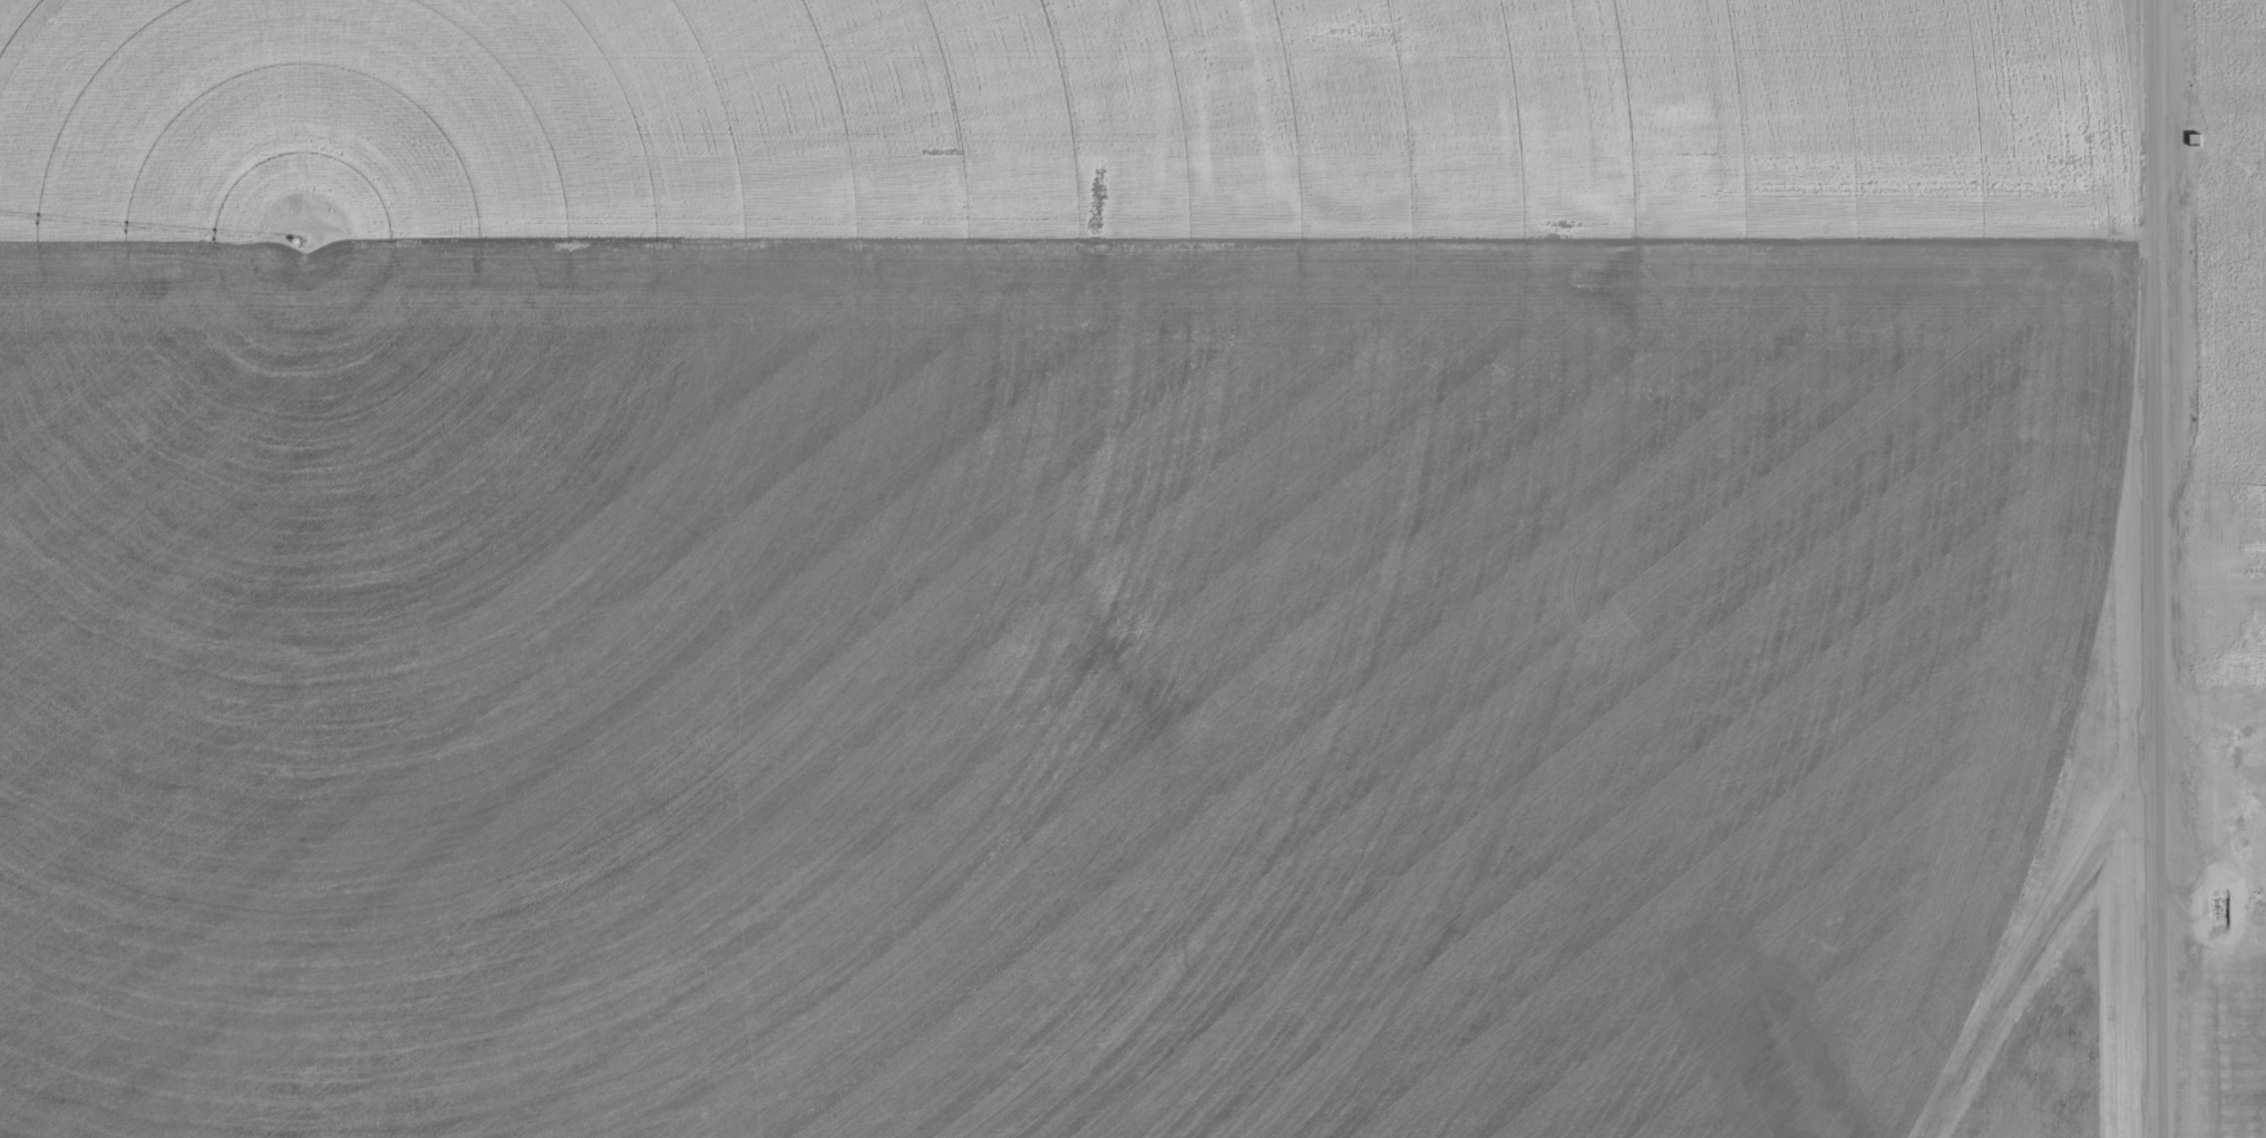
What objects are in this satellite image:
road: (2075, 226)
road: (1830, 681)

